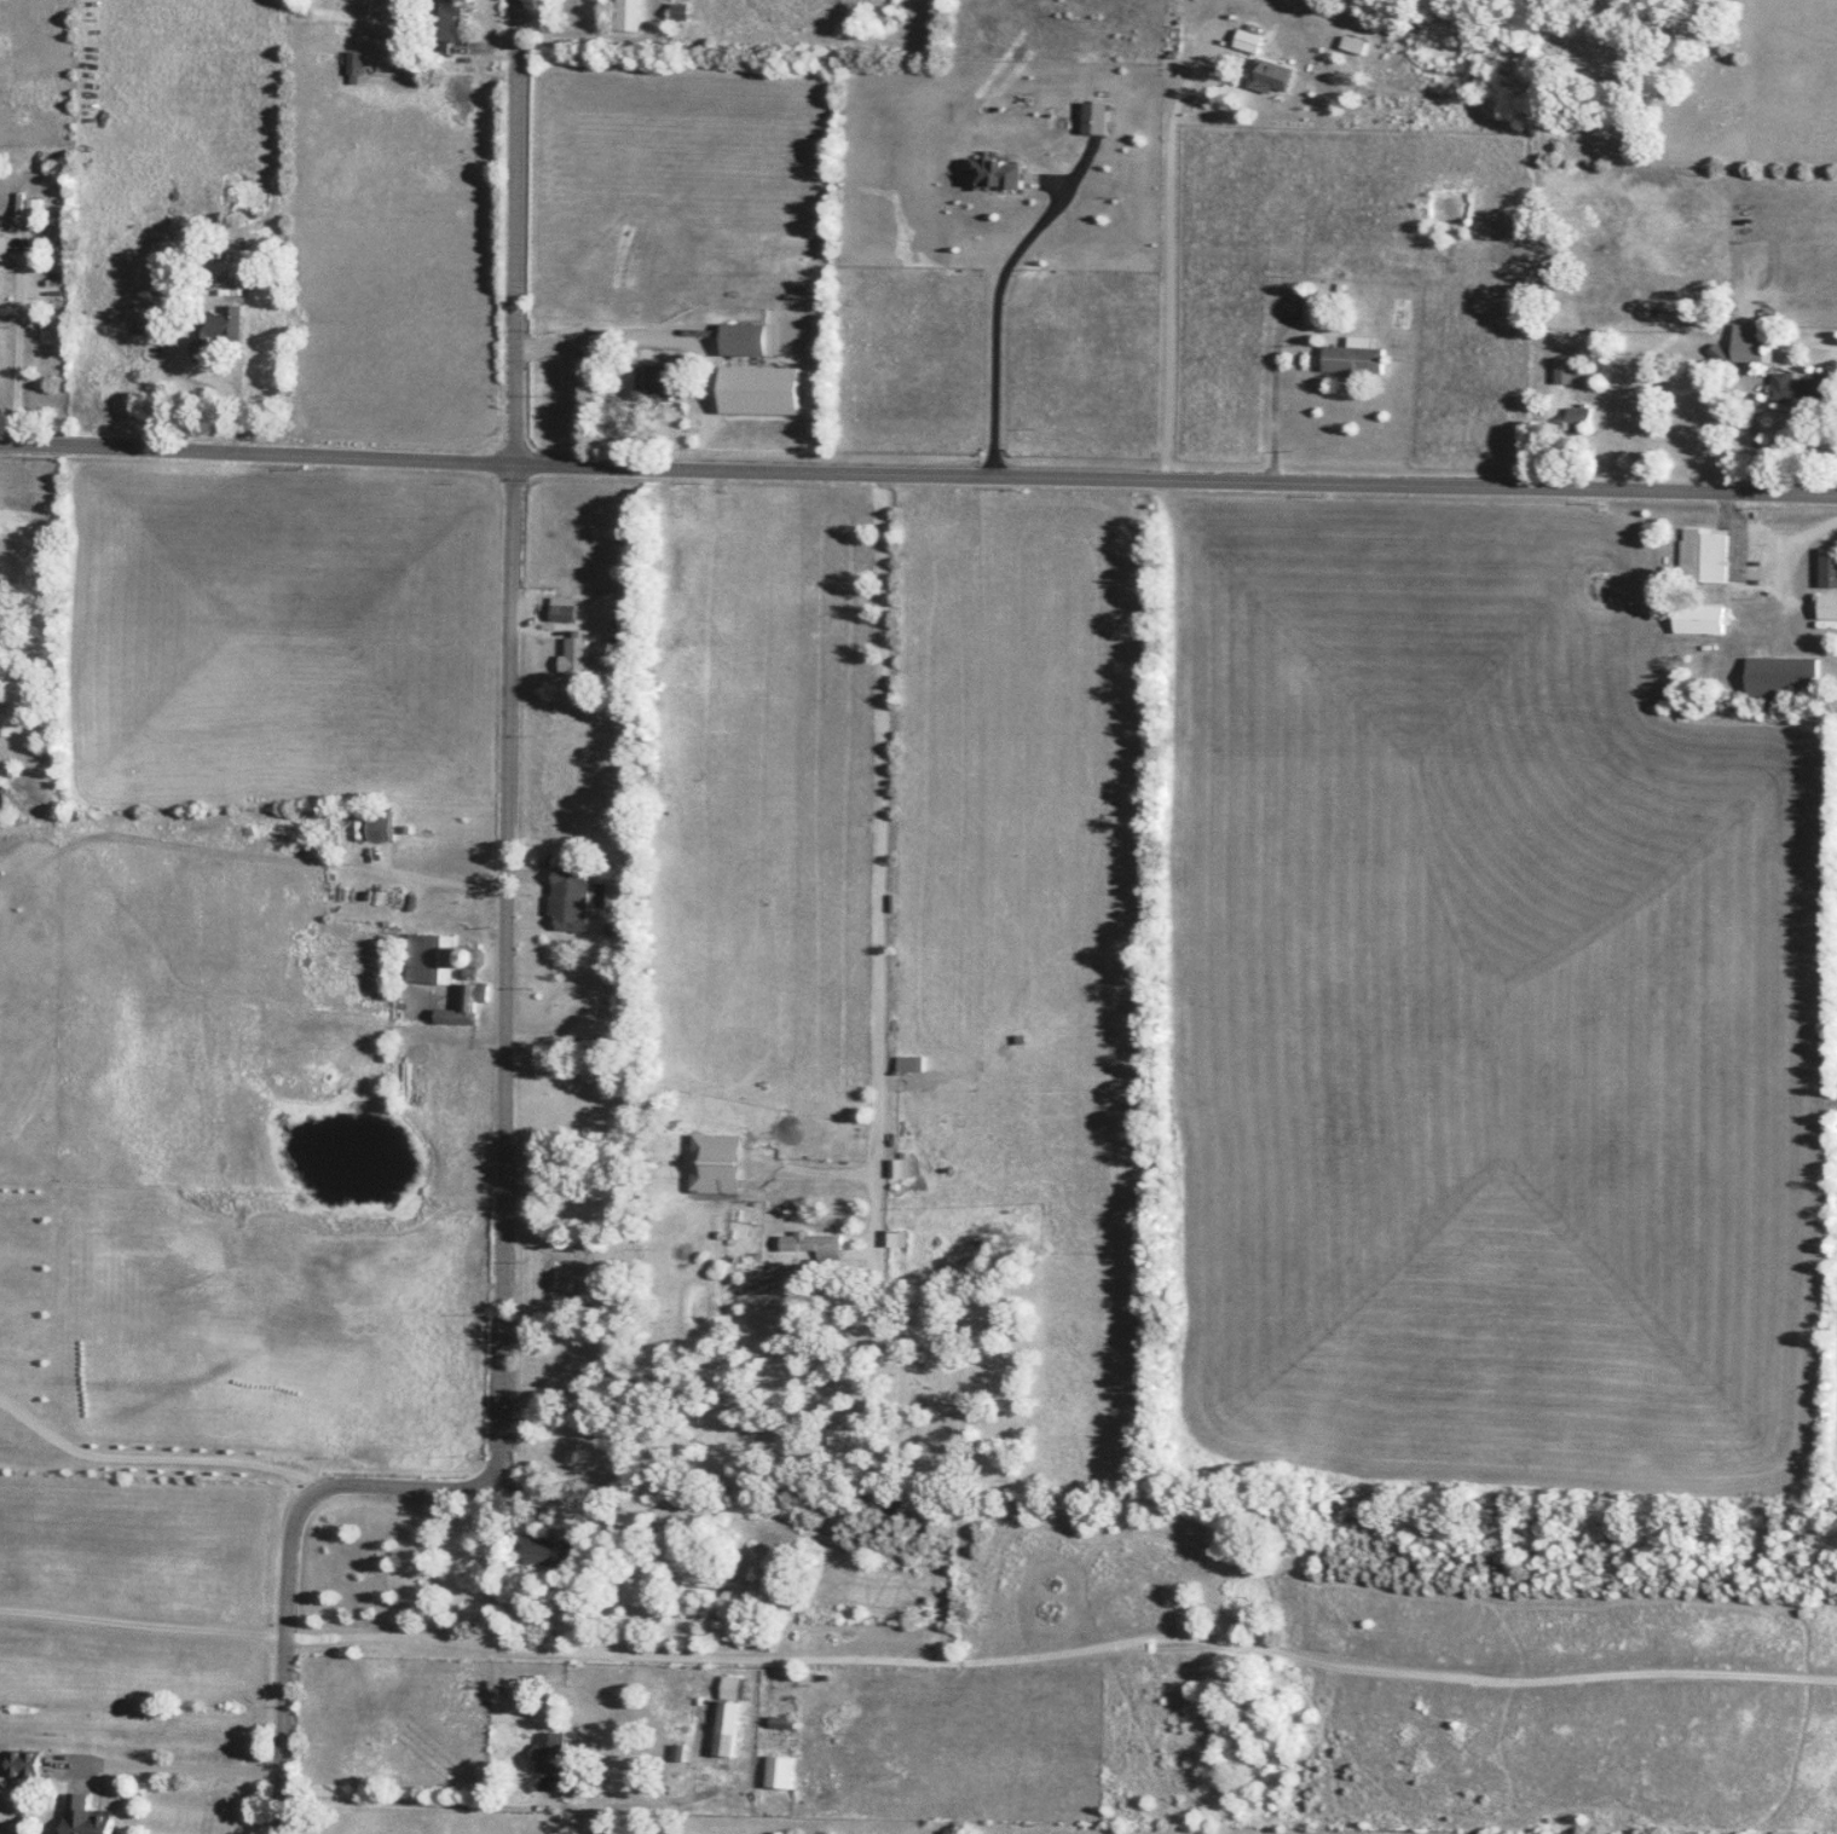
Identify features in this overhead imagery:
building: (631, 15)
building: (445, 27)
road: (564, 28)
building: (1248, 40)
building: (357, 65)
building: (1275, 76)
building: (5, 248)
road: (1168, 254)
building: (163, 279)
building: (1316, 309)
road: (994, 317)
building: (216, 329)
building: (749, 340)
building: (1749, 342)
building: (1354, 358)
road: (16, 363)
building: (1564, 370)
building: (1798, 388)
building: (653, 389)
building: (1578, 417)
road: (918, 471)
building: (17, 516)
building: (1702, 555)
building: (1826, 569)
park: (1599, 586)
building: (565, 613)
building: (1699, 619)
building: (578, 656)
building: (1780, 678)
building: (379, 823)
road: (883, 839)
building: (572, 897)
building: (475, 955)
building: (428, 958)
road: (504, 1005)
building: (464, 1006)
building: (590, 1068)
building: (717, 1155)
building: (815, 1243)
road: (152, 1456)
building: (554, 1552)
road: (141, 1621)
building: (759, 1642)
road: (1062, 1650)
building: (729, 1716)
building: (782, 1723)
building: (551, 1752)
building: (25, 1764)
road: (166, 1765)
building: (778, 1774)
road: (422, 1803)
building: (89, 1816)

